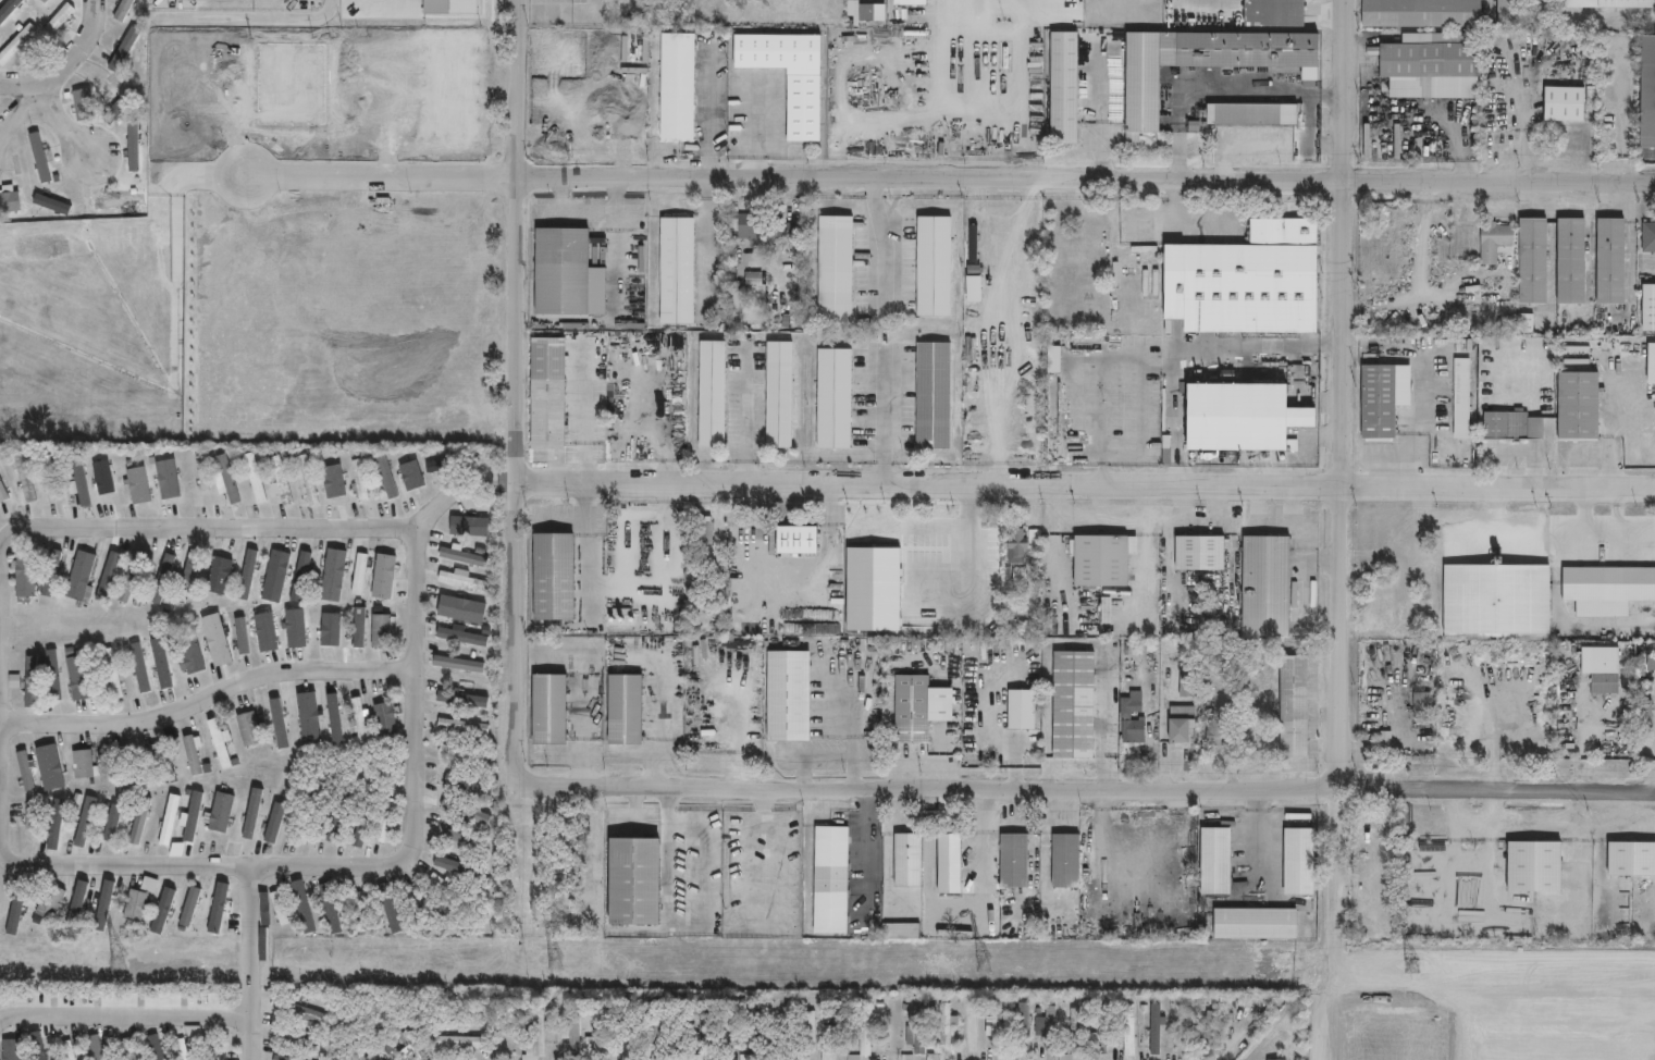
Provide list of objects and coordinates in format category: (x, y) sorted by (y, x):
building: (42, 1)
building: (46, 1)
building: (910, 2)
building: (1608, 3)
building: (124, 10)
building: (863, 12)
building: (1418, 13)
building: (1505, 13)
road: (320, 17)
building: (57, 19)
road: (235, 22)
building: (15, 41)
road: (77, 47)
building: (121, 48)
building: (1215, 53)
building: (1423, 59)
building: (788, 75)
road: (21, 83)
building: (1064, 85)
building: (677, 86)
building: (1646, 90)
road: (1216, 93)
building: (1560, 103)
building: (0, 104)
building: (82, 104)
building: (120, 104)
road: (30, 113)
building: (1248, 114)
road: (70, 128)
building: (1504, 133)
road: (1237, 145)
road: (951, 181)
building: (123, 200)
building: (13, 201)
road: (591, 210)
road: (1190, 224)
building: (743, 226)
building: (787, 232)
building: (1647, 237)
road: (149, 239)
building: (1491, 241)
building: (972, 242)
road: (711, 243)
road: (876, 244)
building: (1568, 260)
building: (1530, 261)
building: (1607, 261)
building: (934, 266)
building: (836, 269)
building: (676, 270)
building: (560, 271)
building: (1246, 280)
building: (1647, 307)
building: (1522, 322)
building: (657, 342)
road: (1243, 350)
road: (1088, 352)
building: (1054, 358)
building: (1650, 362)
building: (546, 391)
road: (517, 394)
building: (712, 394)
building: (779, 394)
building: (934, 395)
road: (1345, 395)
building: (833, 397)
building: (1380, 398)
building: (1461, 398)
building: (1051, 400)
road: (1103, 400)
road: (746, 402)
building: (1574, 405)
building: (1240, 417)
road: (881, 419)
road: (1173, 422)
road: (1418, 424)
building: (1493, 426)
building: (630, 431)
building: (202, 472)
building: (208, 473)
road: (746, 473)
building: (392, 476)
building: (30, 477)
building: (50, 477)
building: (55, 477)
building: (86, 477)
building: (254, 477)
building: (306, 480)
building: (137, 485)
building: (5, 488)
road: (1086, 488)
road: (436, 515)
road: (1078, 519)
road: (1109, 519)
road: (218, 529)
building: (889, 537)
road: (1531, 538)
building: (795, 540)
building: (1035, 541)
building: (705, 542)
building: (1015, 545)
road: (1051, 549)
road: (1144, 553)
building: (1200, 553)
building: (461, 557)
building: (1099, 567)
building: (384, 572)
building: (24, 574)
building: (248, 574)
building: (78, 575)
building: (552, 577)
building: (186, 578)
building: (128, 582)
building: (1267, 587)
building: (1608, 590)
building: (716, 597)
building: (1497, 600)
building: (461, 608)
building: (1107, 611)
building: (850, 616)
building: (750, 629)
building: (331, 630)
building: (380, 631)
building: (706, 631)
building: (190, 656)
building: (1653, 663)
building: (1608, 671)
building: (112, 675)
building: (13, 679)
building: (33, 680)
building: (1189, 685)
road: (2, 693)
road: (208, 693)
building: (788, 697)
road: (417, 698)
building: (1074, 705)
building: (1423, 705)
building: (1295, 706)
building: (919, 708)
building: (1022, 708)
building: (547, 710)
building: (625, 711)
building: (1648, 715)
building: (1126, 717)
building: (308, 718)
building: (359, 719)
building: (384, 720)
building: (1181, 724)
building: (247, 730)
building: (1218, 731)
building: (219, 744)
building: (1385, 748)
building: (197, 755)
building: (457, 755)
building: (82, 765)
building: (162, 765)
building: (49, 766)
building: (24, 769)
building: (125, 769)
road: (1087, 793)
building: (465, 811)
building: (219, 813)
building: (29, 816)
building: (170, 818)
building: (307, 819)
building: (363, 822)
building: (84, 823)
building: (1632, 860)
building: (907, 861)
building: (1013, 861)
building: (1066, 862)
building: (1215, 862)
building: (1299, 863)
building: (948, 865)
road: (208, 866)
building: (1535, 867)
building: (830, 880)
building: (631, 883)
building: (453, 891)
building: (78, 899)
building: (50, 901)
building: (134, 904)
building: (328, 908)
building: (391, 908)
building: (428, 908)
building: (279, 909)
building: (363, 910)
building: (1255, 925)
road: (1338, 925)
building: (901, 930)
power tower: (119, 961)
road: (251, 962)
power tower: (555, 962)
power tower: (983, 963)
power tower: (1410, 964)
building: (305, 1011)
road: (124, 1013)
building: (655, 1018)
building: (622, 1024)
building: (754, 1025)
building: (779, 1025)
building: (837, 1025)
building: (1024, 1026)
building: (1148, 1026)
building: (572, 1027)
building: (943, 1027)
building: (1129, 1027)
building: (702, 1030)
building: (812, 1030)
building: (917, 1030)
building: (733, 1031)
building: (1074, 1031)
building: (596, 1032)
building: (864, 1032)
building: (1209, 1032)
building: (1099, 1034)
building: (535, 1037)
building: (301, 1040)
building: (455, 1040)
building: (400, 1045)
building: (11, 1049)
building: (126, 1049)
building: (185, 1049)
building: (73, 1050)
building: (217, 1053)
building: (828, 1056)
building: (659, 1057)
building: (697, 1057)
building: (748, 1057)
building: (282, 1058)
building: (1274, 1059)

